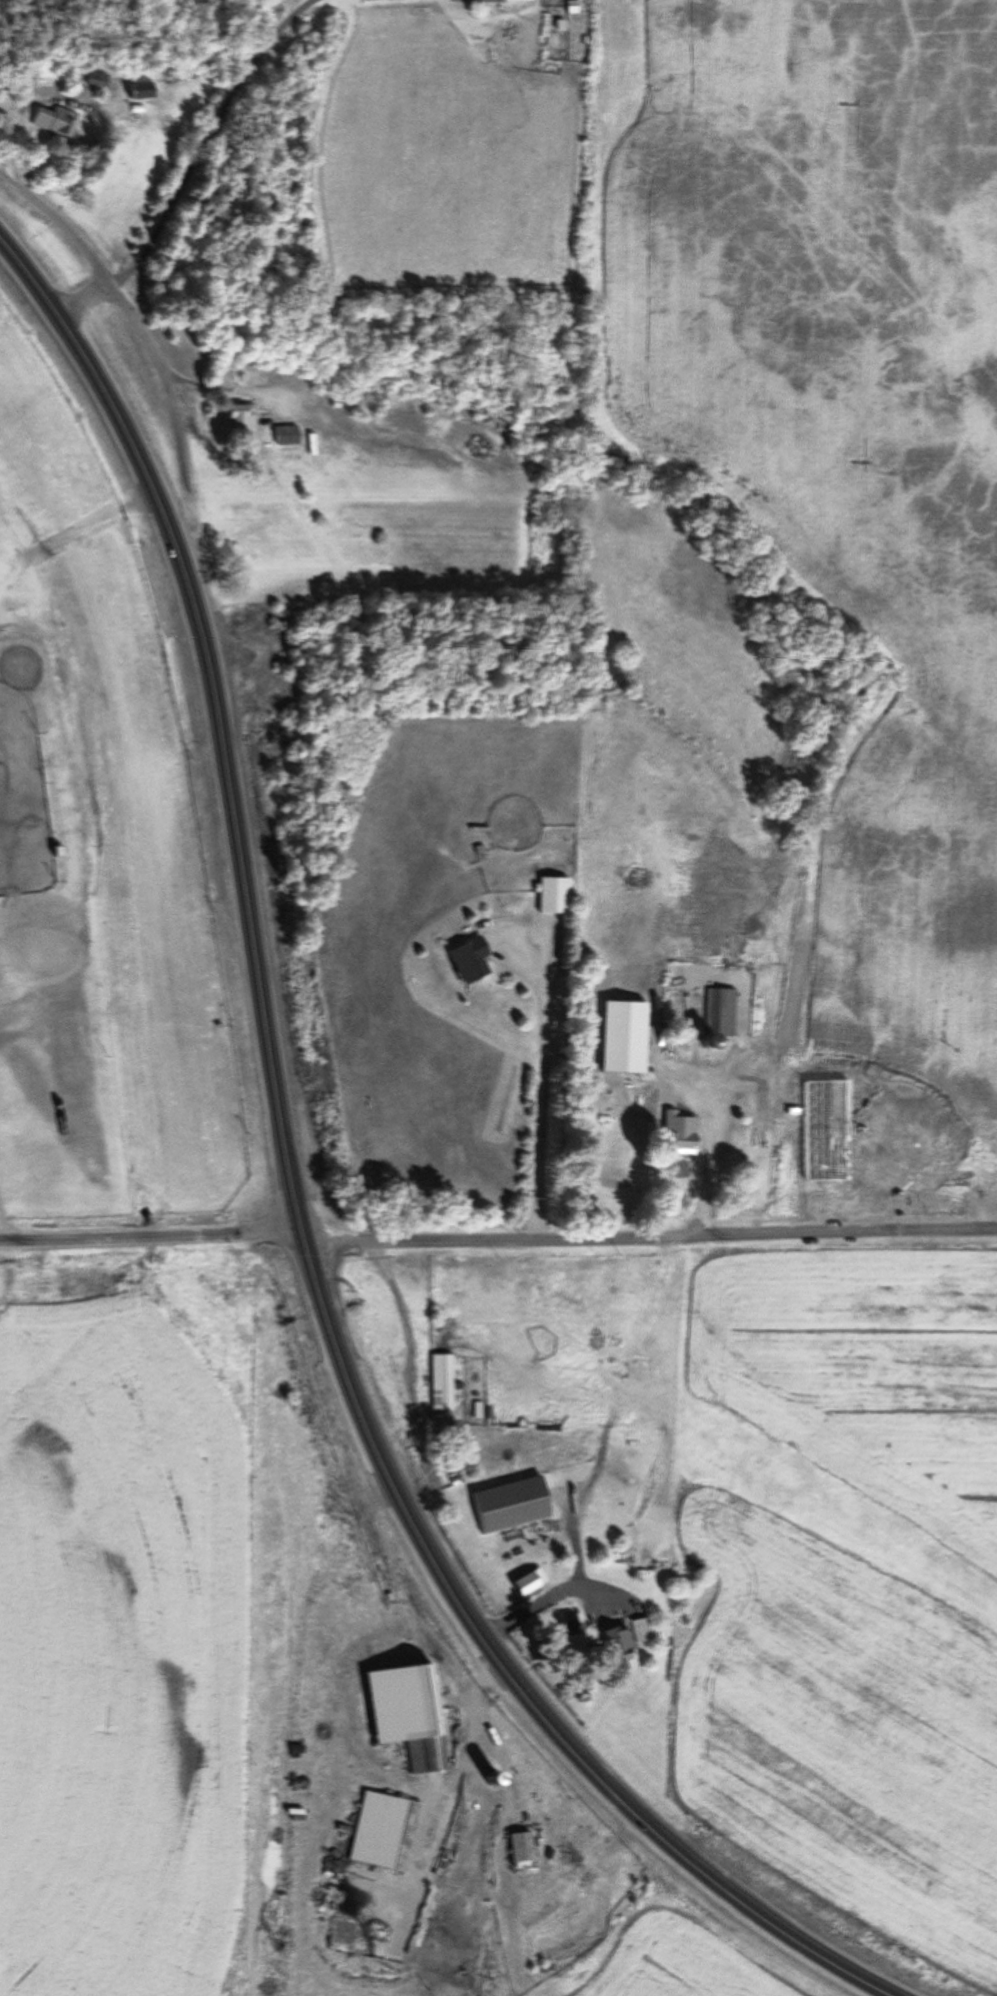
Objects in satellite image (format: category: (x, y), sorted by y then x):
building: (94, 79)
building: (139, 90)
building: (56, 121)
road: (209, 138)
road: (83, 298)
road: (129, 310)
building: (240, 417)
building: (288, 431)
building: (552, 895)
building: (469, 960)
building: (720, 1011)
building: (644, 1066)
building: (680, 1135)
road: (296, 1204)
road: (652, 1236)
road: (150, 1237)
building: (442, 1382)
building: (441, 1474)
building: (507, 1503)
building: (527, 1580)
road: (548, 1600)
building: (640, 1629)
building: (612, 1644)
building: (425, 1719)
building: (438, 1818)
building: (367, 1826)
building: (521, 1845)

